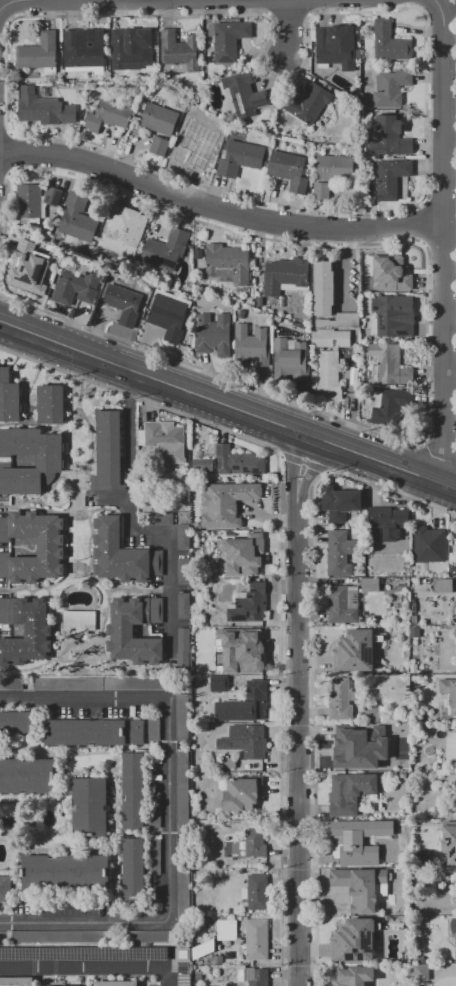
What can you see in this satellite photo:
road: (146, 4)
road: (292, 33)
building: (231, 41)
building: (392, 44)
building: (337, 52)
building: (86, 53)
building: (182, 55)
building: (42, 56)
building: (132, 56)
building: (393, 90)
building: (247, 96)
building: (311, 106)
building: (47, 113)
building: (112, 117)
building: (161, 121)
building: (202, 135)
building: (391, 140)
building: (162, 148)
building: (184, 155)
building: (242, 160)
building: (337, 169)
building: (291, 172)
building: (392, 179)
building: (324, 193)
building: (37, 204)
road: (217, 207)
building: (80, 220)
building: (127, 233)
road: (441, 242)
building: (169, 252)
building: (230, 264)
building: (34, 270)
building: (394, 275)
building: (289, 278)
building: (76, 289)
building: (327, 290)
building: (126, 306)
building: (171, 318)
building: (395, 318)
building: (342, 323)
building: (216, 337)
building: (334, 340)
building: (254, 348)
building: (293, 362)
building: (391, 367)
road: (208, 371)
building: (330, 377)
building: (9, 397)
building: (51, 405)
building: (392, 408)
road: (227, 409)
building: (161, 435)
building: (108, 453)
road: (433, 460)
building: (49, 461)
building: (238, 461)
building: (203, 465)
road: (303, 466)
building: (333, 501)
building: (226, 504)
building: (353, 516)
building: (162, 519)
building: (386, 523)
road: (133, 529)
building: (184, 537)
building: (202, 538)
building: (455, 538)
building: (429, 545)
building: (48, 547)
building: (245, 553)
building: (340, 553)
building: (122, 554)
building: (184, 571)
road: (280, 571)
building: (455, 574)
building: (370, 585)
building: (443, 586)
building: (249, 604)
building: (343, 605)
building: (184, 606)
building: (413, 608)
building: (455, 609)
building: (413, 620)
building: (79, 621)
building: (120, 630)
building: (27, 631)
building: (414, 633)
building: (357, 650)
building: (183, 651)
building: (251, 655)
road: (314, 659)
building: (104, 684)
building: (219, 684)
building: (11, 685)
building: (453, 696)
building: (340, 700)
building: (244, 705)
road: (296, 712)
building: (372, 714)
building: (182, 717)
building: (16, 722)
building: (154, 729)
building: (94, 733)
building: (245, 741)
building: (360, 747)
building: (229, 763)
building: (27, 776)
building: (133, 791)
building: (350, 792)
building: (182, 793)
building: (242, 794)
building: (90, 808)
building: (154, 810)
road: (169, 810)
building: (342, 838)
building: (450, 841)
building: (255, 844)
building: (403, 854)
building: (423, 856)
building: (154, 857)
building: (134, 870)
building: (66, 873)
building: (183, 885)
building: (362, 887)
building: (5, 889)
building: (256, 892)
building: (454, 926)
building: (209, 928)
building: (227, 930)
building: (63, 937)
building: (150, 937)
building: (257, 940)
building: (356, 941)
building: (409, 949)
building: (206, 953)
building: (418, 959)
road: (90, 966)
building: (421, 972)
building: (253, 976)
building: (355, 976)
building: (16, 982)
building: (116, 983)

